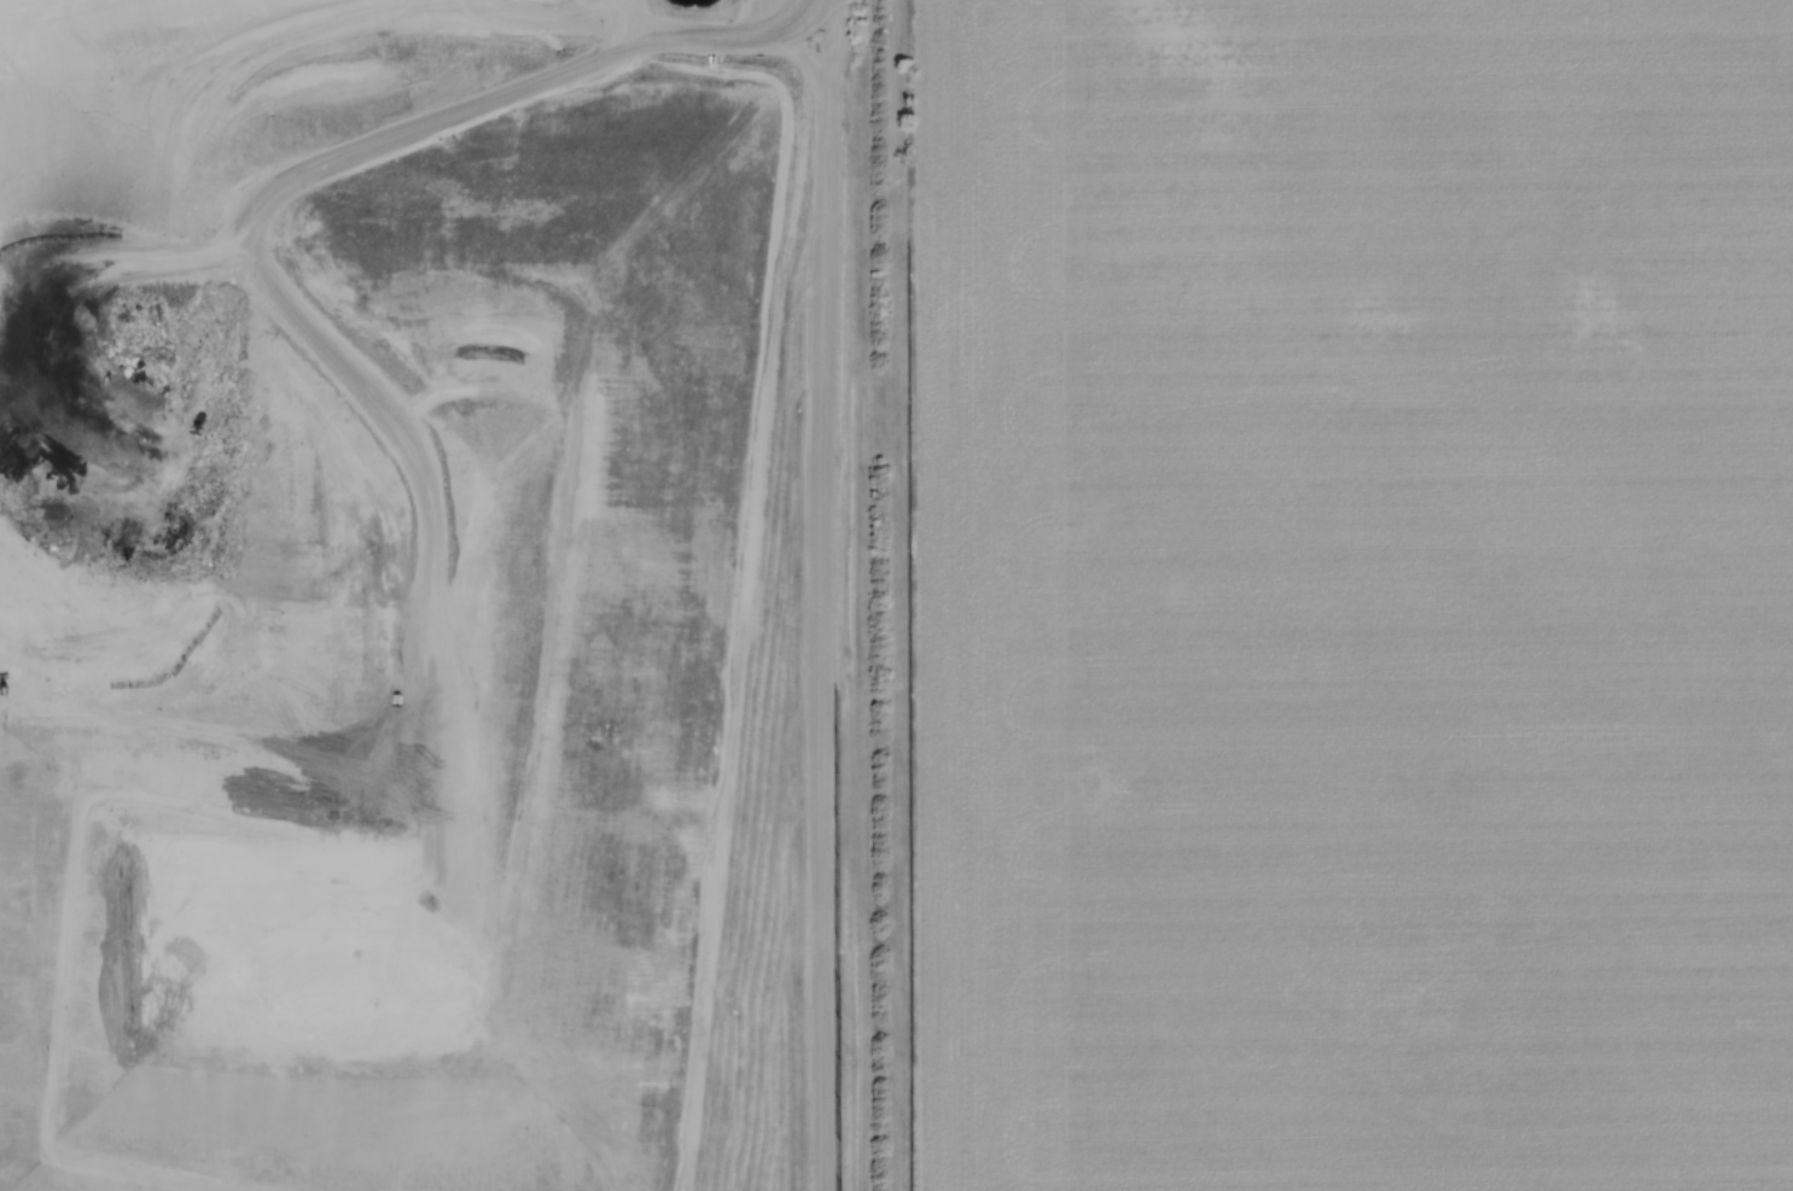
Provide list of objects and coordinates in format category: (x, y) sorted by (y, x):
road: (546, 14)
crop: (1355, 594)
road: (829, 595)

